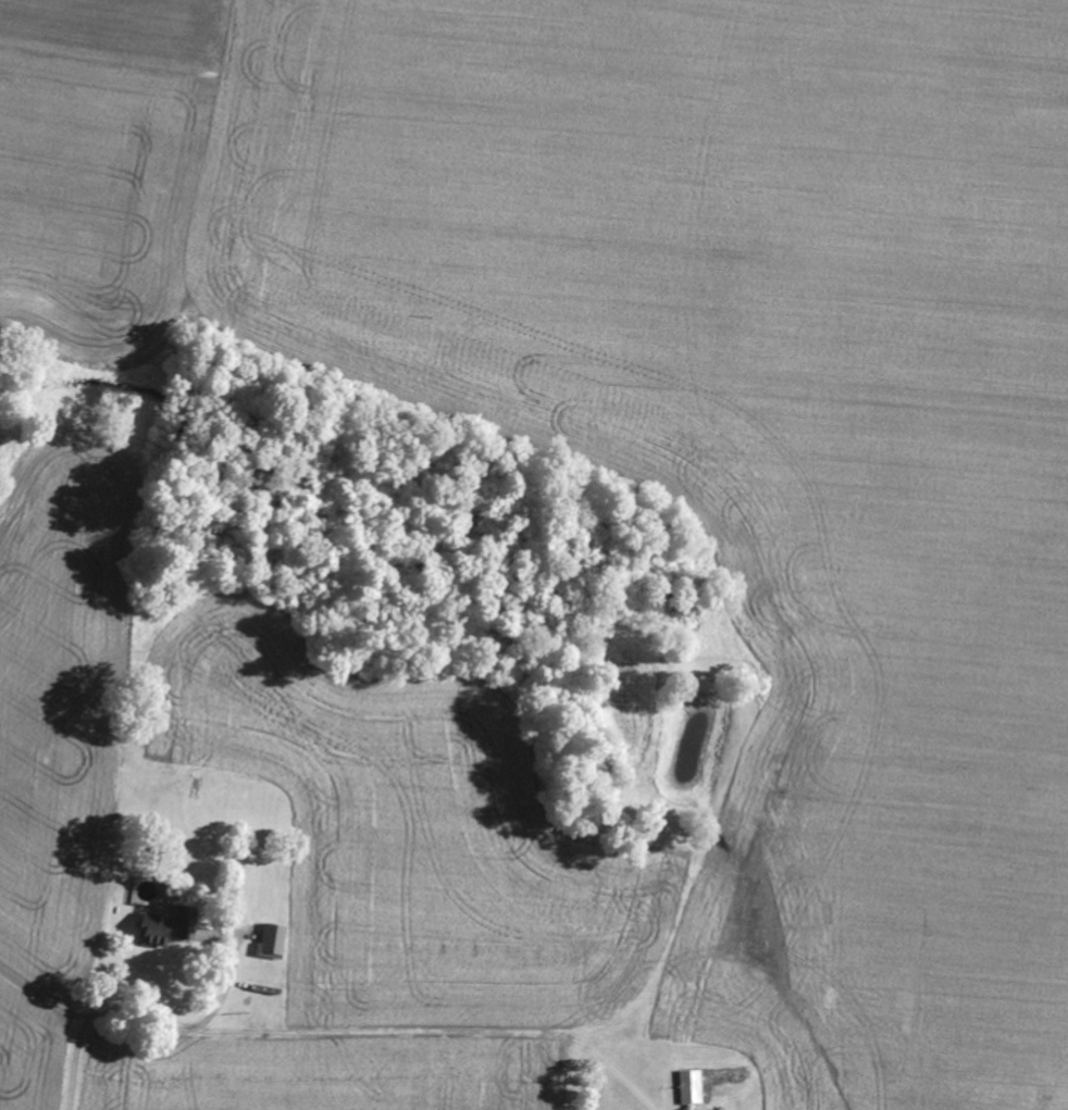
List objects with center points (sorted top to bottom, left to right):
building: (166, 923)
building: (269, 936)
road: (146, 1015)
building: (687, 1084)

